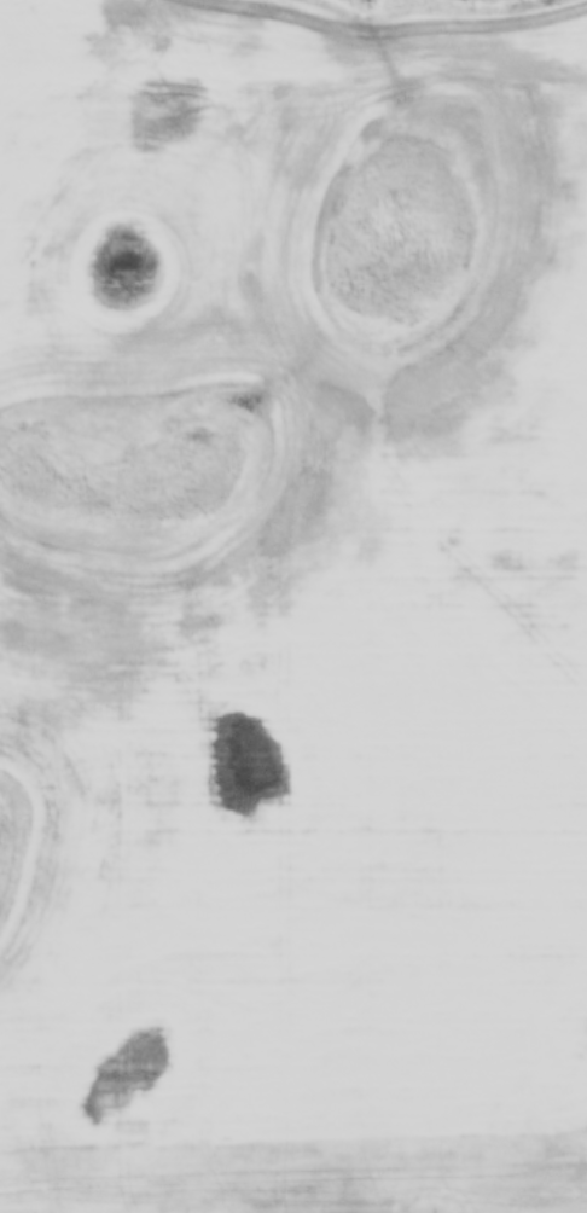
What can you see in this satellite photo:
road: (293, 1173)

